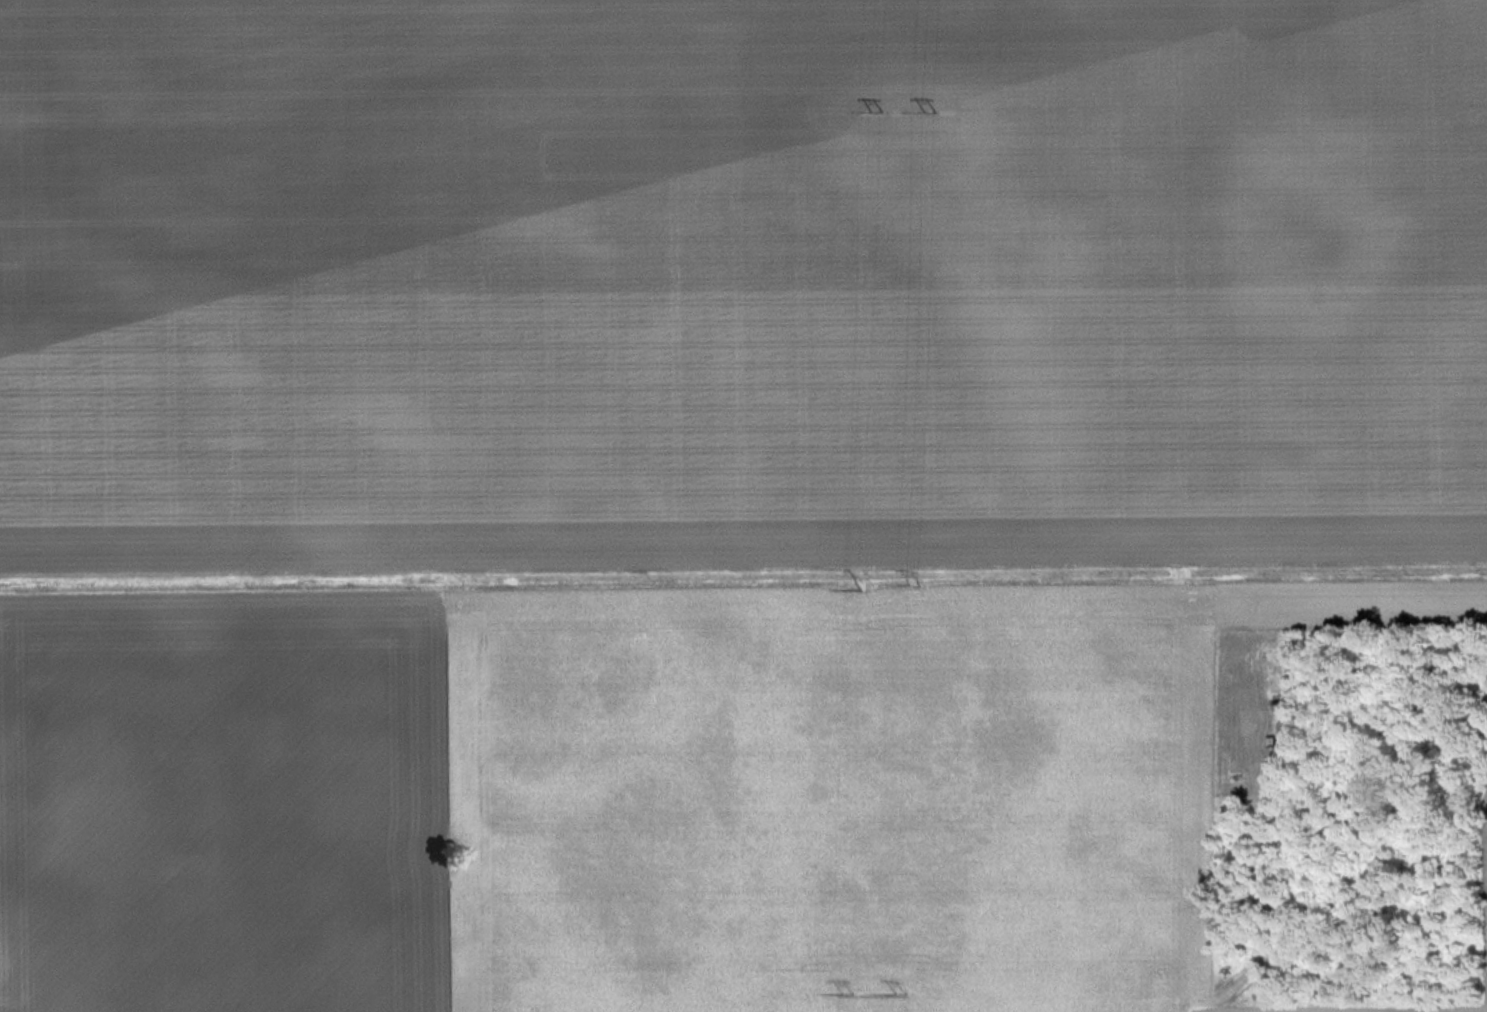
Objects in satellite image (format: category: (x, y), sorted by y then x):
power tower: (873, 109)
power tower: (928, 111)
power tower: (857, 581)
power tower: (913, 581)
power tower: (900, 990)
power tower: (846, 991)

